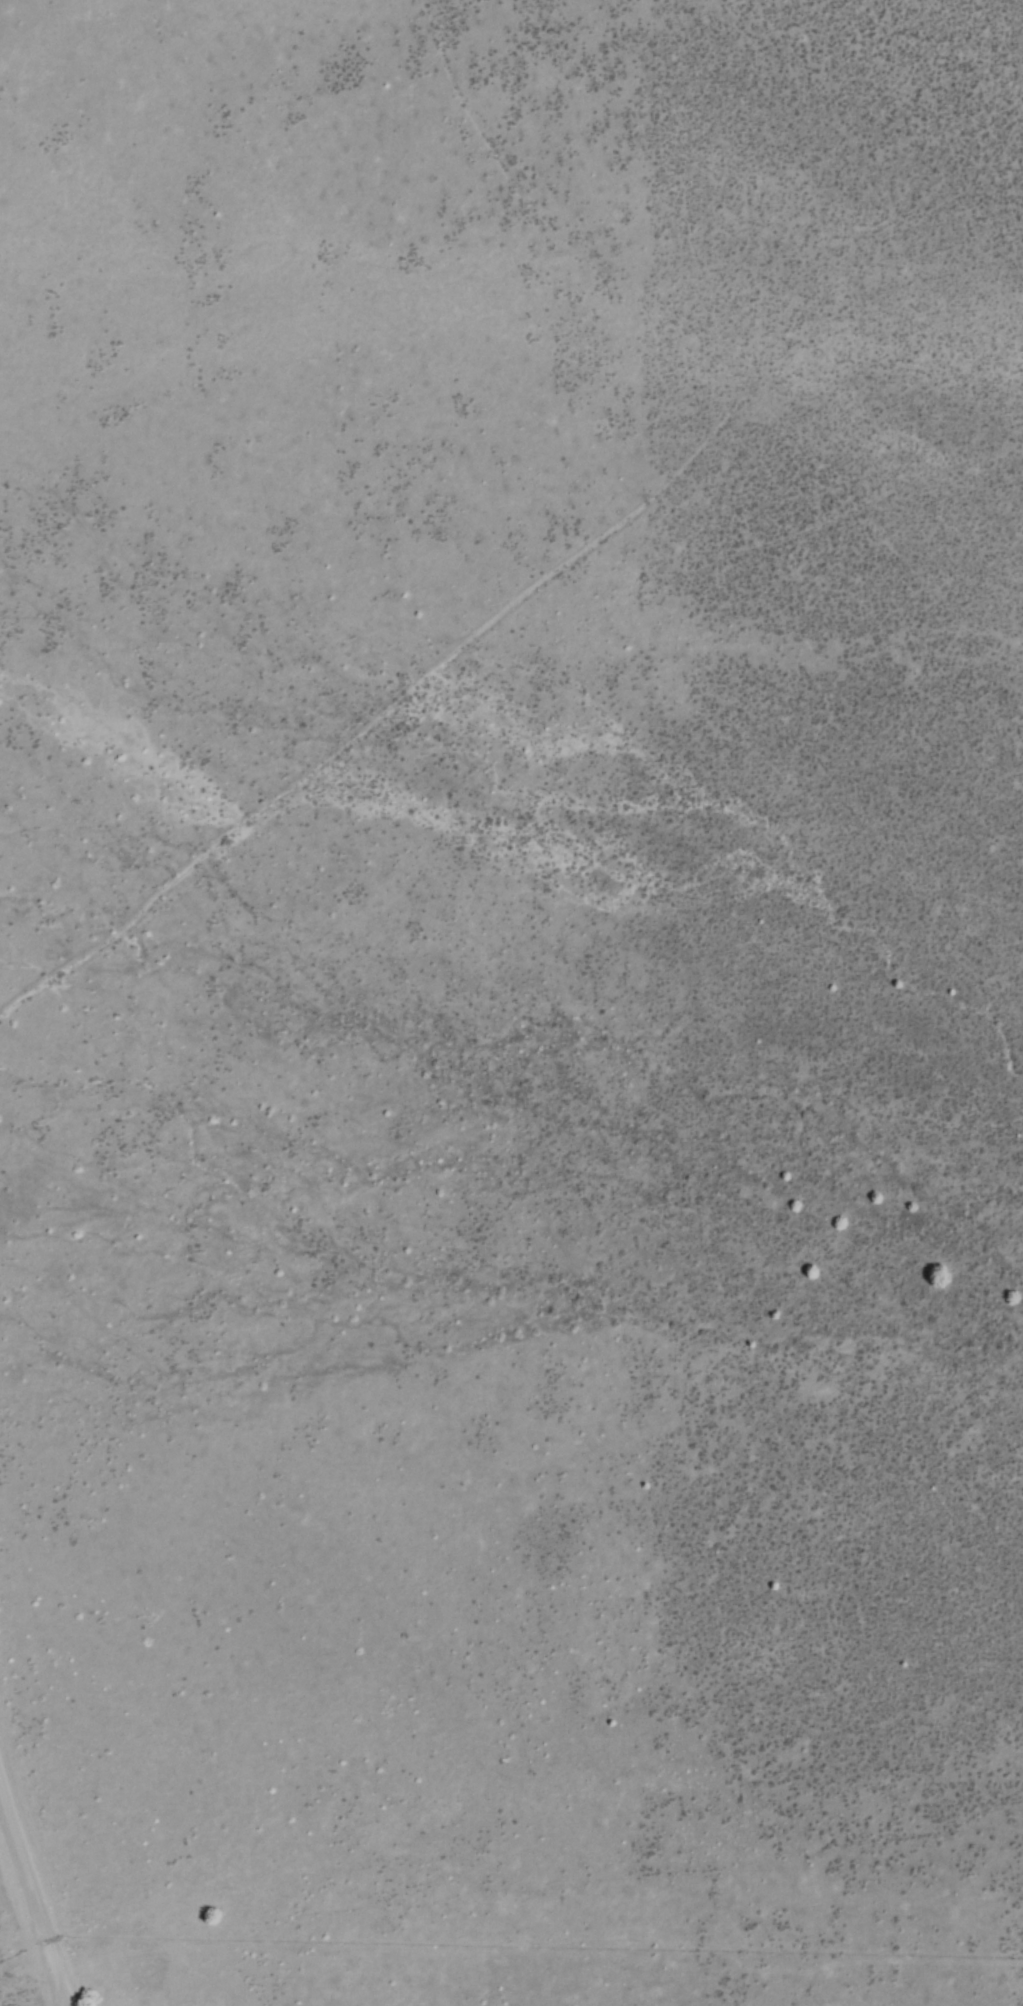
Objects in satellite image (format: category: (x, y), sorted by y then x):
road: (29, 1881)
road: (58, 1988)
road: (66, 1988)

